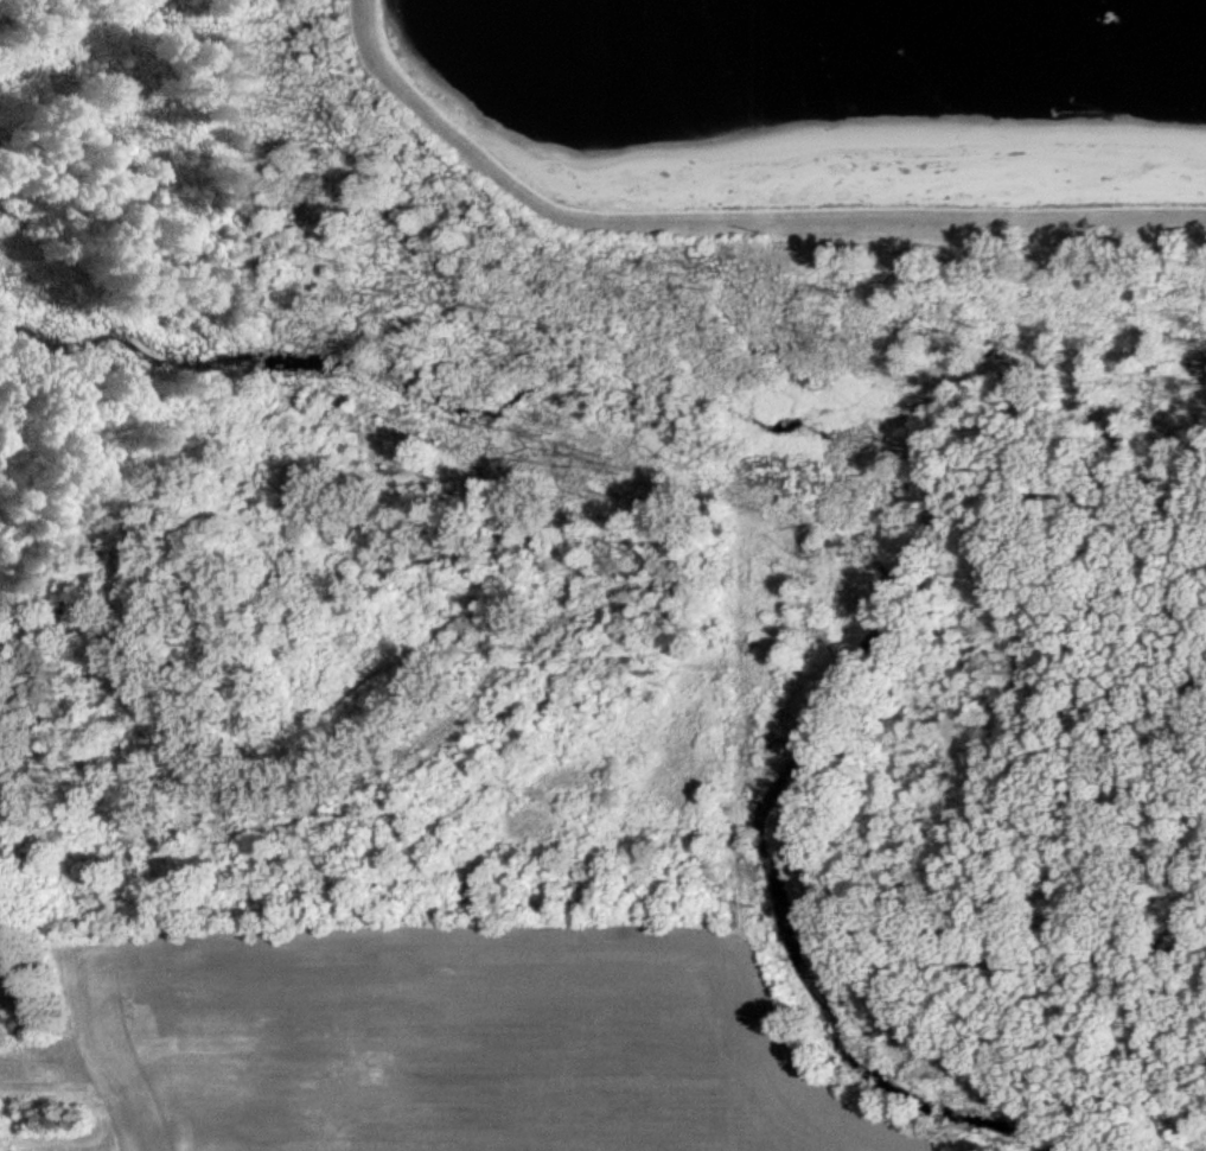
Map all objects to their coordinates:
wastewater plant: (811, 116)
road: (728, 218)

